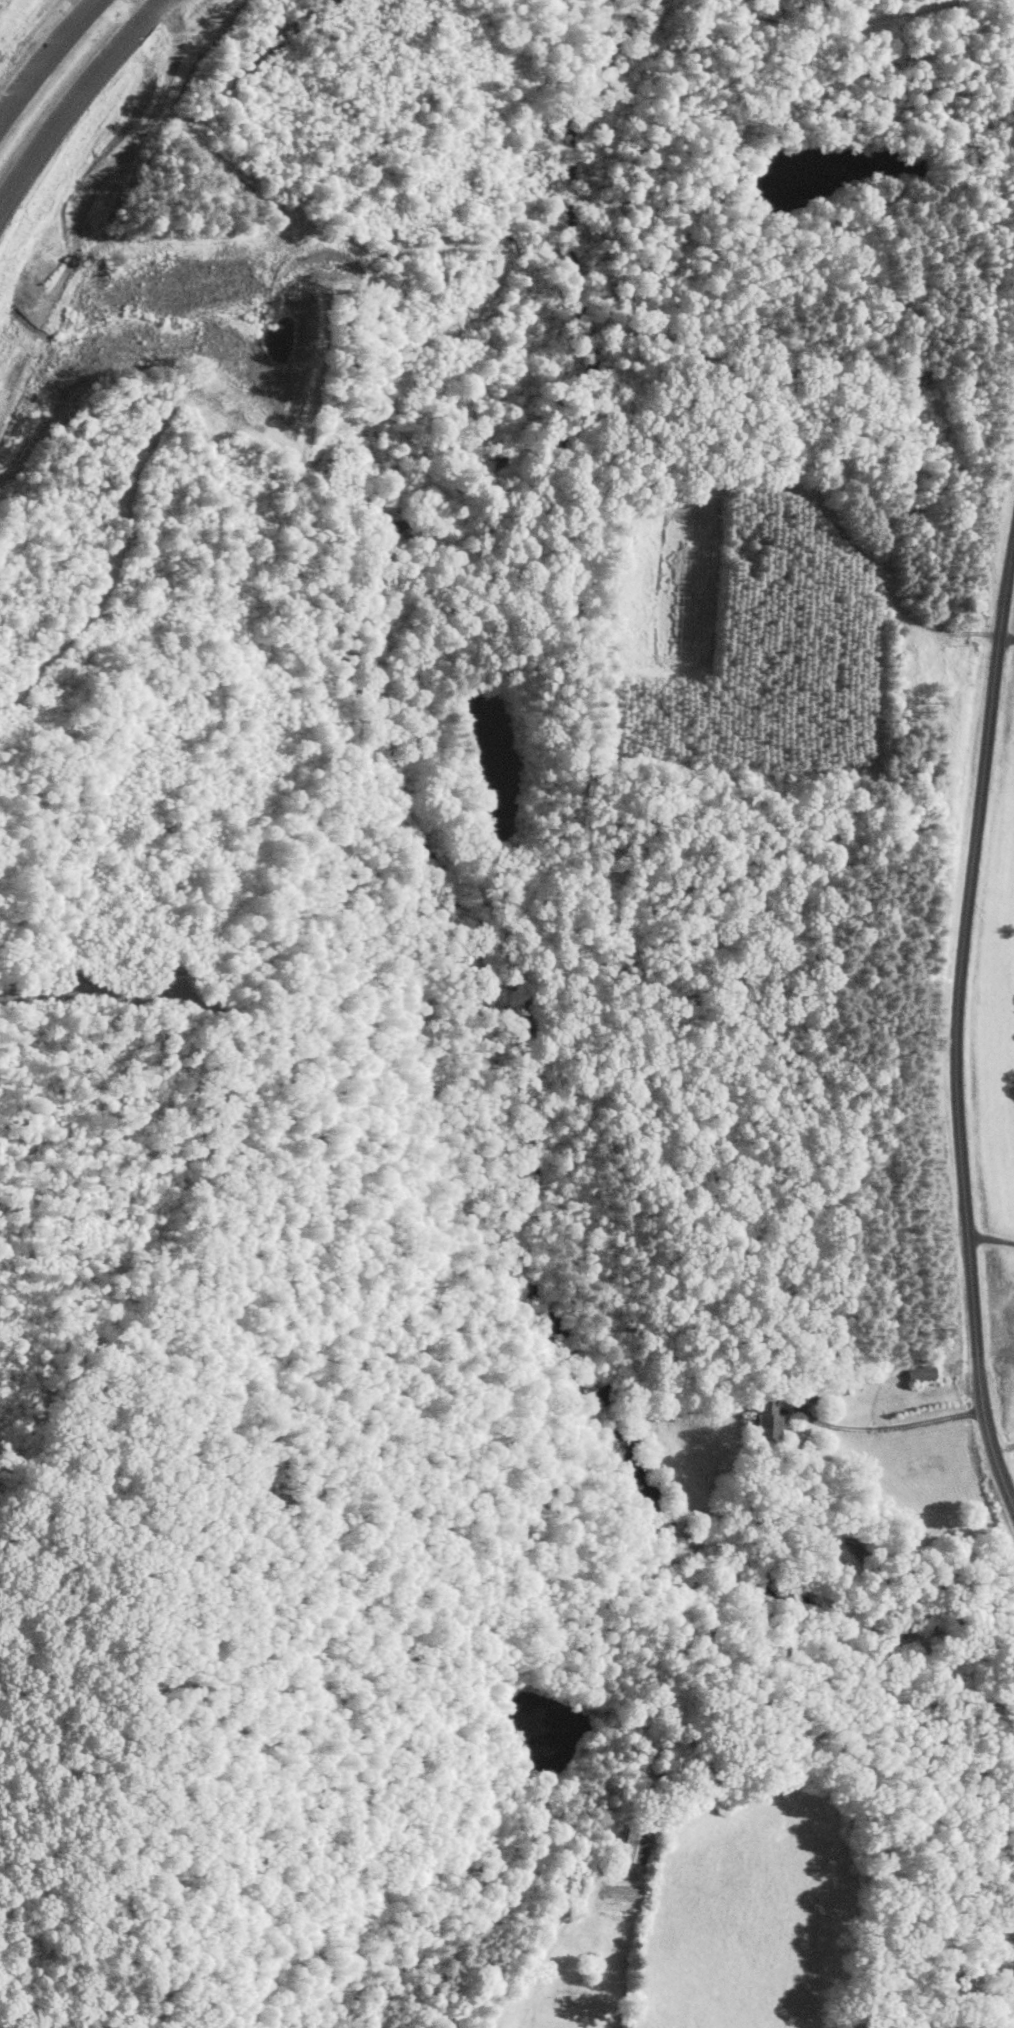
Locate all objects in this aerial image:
road: (47, 58)
road: (75, 94)
road: (1013, 547)
road: (1007, 639)
road: (957, 1026)
road: (990, 1237)
building: (920, 1372)
building: (766, 1425)
road: (893, 1428)

